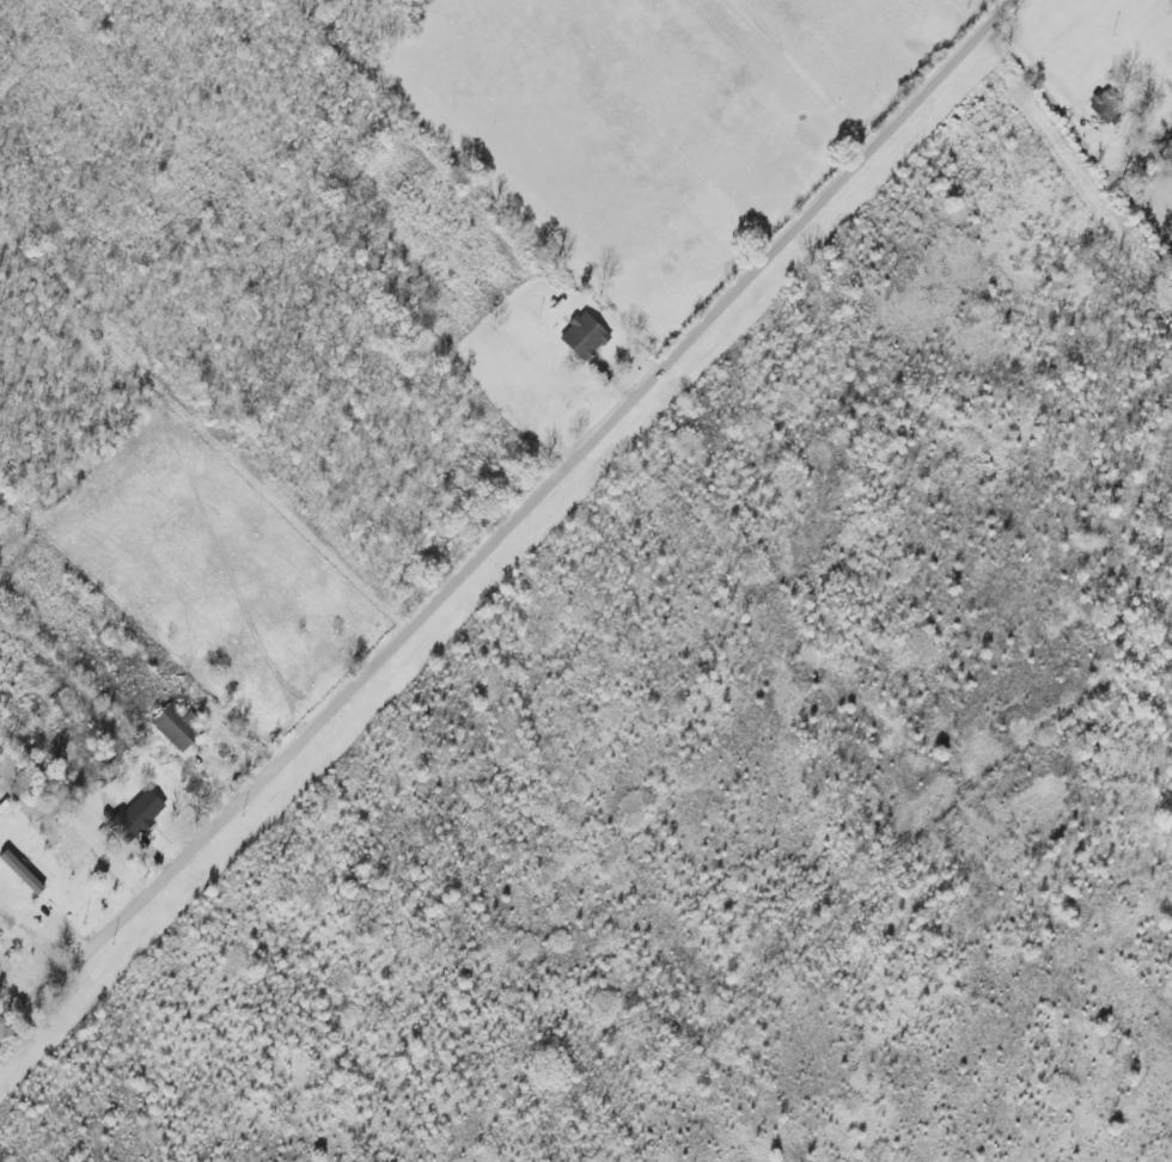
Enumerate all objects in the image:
building: (590, 338)
road: (543, 490)
building: (182, 729)
building: (140, 820)
building: (74, 892)

